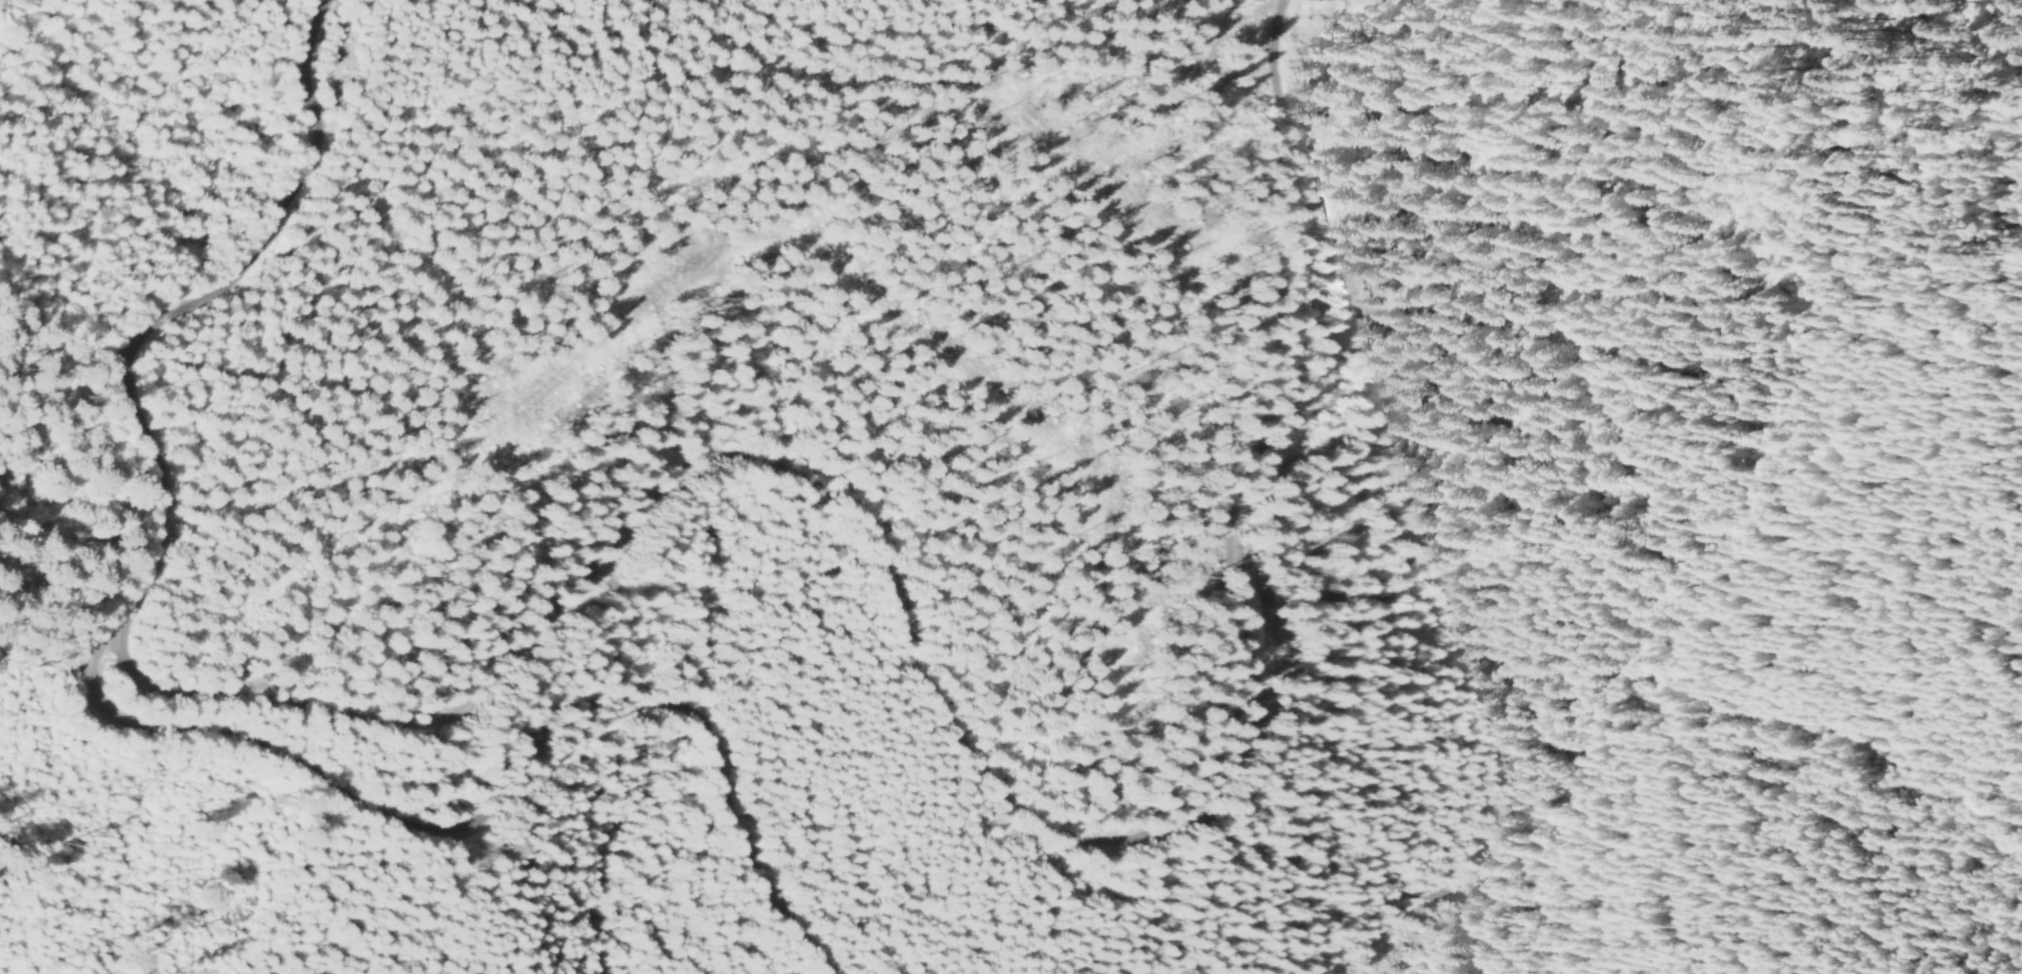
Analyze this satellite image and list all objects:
road: (938, 717)
road: (148, 729)
road: (1421, 896)

